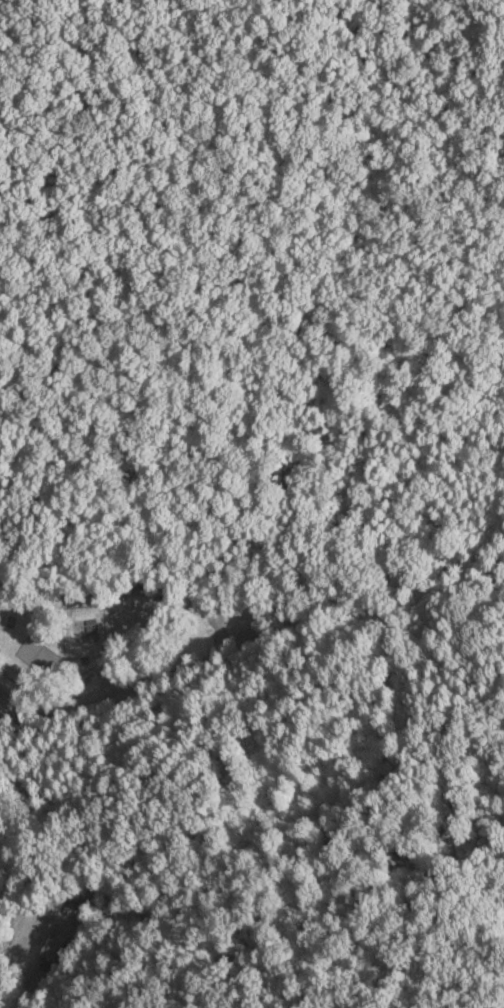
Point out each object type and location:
building: (50, 949)

